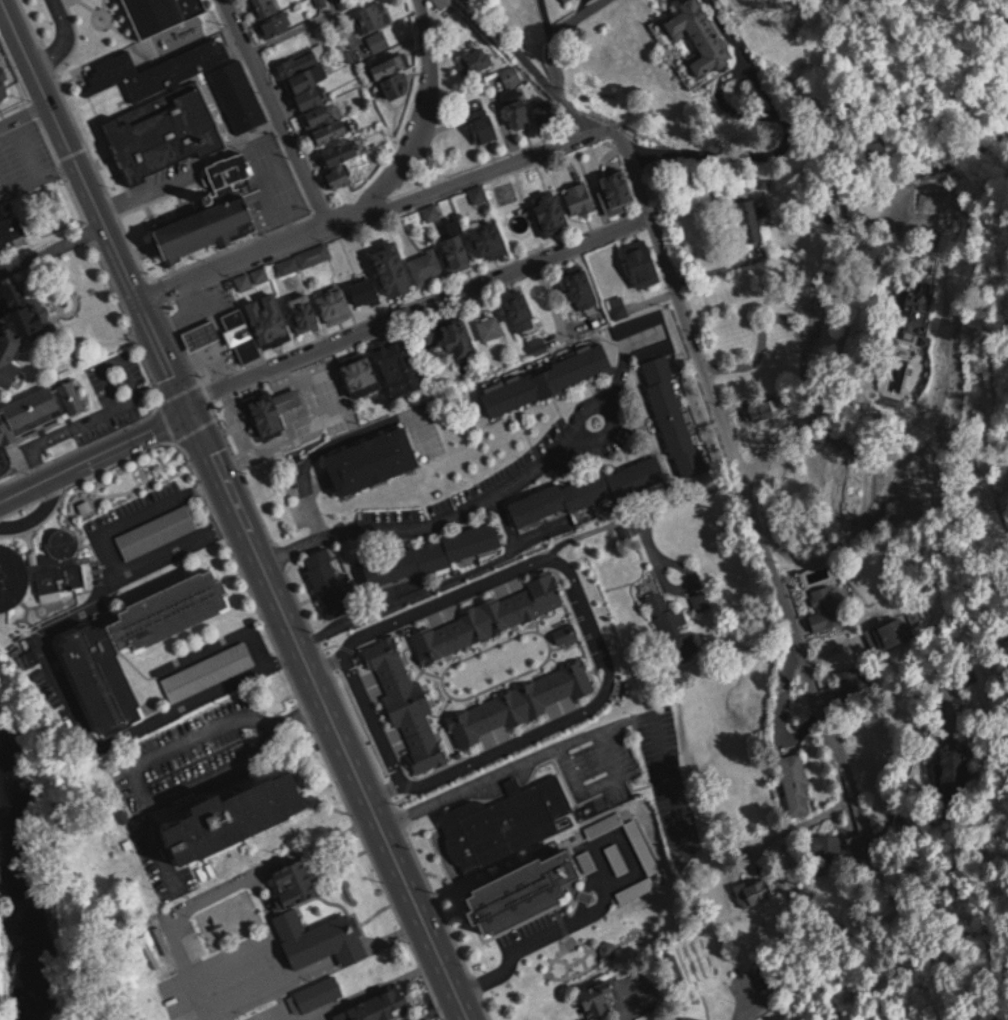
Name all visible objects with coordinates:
building: (564, 0)
building: (443, 3)
building: (266, 7)
building: (162, 13)
building: (373, 14)
road: (8, 23)
building: (275, 25)
road: (558, 31)
building: (702, 34)
road: (61, 38)
building: (378, 39)
road: (28, 50)
building: (476, 57)
building: (299, 60)
building: (389, 63)
building: (511, 72)
building: (4, 83)
building: (310, 83)
building: (396, 83)
building: (176, 104)
building: (518, 105)
road: (280, 108)
road: (25, 111)
building: (483, 121)
building: (326, 122)
road: (424, 127)
building: (875, 148)
building: (342, 150)
building: (231, 168)
building: (338, 174)
building: (617, 190)
building: (580, 197)
road: (374, 202)
building: (853, 208)
building: (552, 209)
building: (751, 218)
building: (11, 222)
building: (205, 225)
building: (489, 237)
building: (457, 246)
road: (53, 247)
road: (120, 252)
building: (314, 254)
building: (642, 261)
building: (426, 264)
building: (393, 267)
building: (261, 274)
building: (582, 287)
building: (366, 291)
building: (335, 304)
building: (619, 305)
building: (520, 308)
road: (423, 309)
building: (305, 311)
building: (269, 316)
building: (639, 322)
building: (19, 326)
building: (491, 327)
building: (202, 334)
gas station: (224, 334)
building: (241, 334)
building: (457, 334)
building: (539, 344)
building: (398, 366)
building: (362, 374)
building: (548, 377)
road: (719, 395)
building: (670, 405)
building: (761, 407)
building: (272, 408)
building: (36, 411)
road: (337, 438)
road: (96, 451)
building: (374, 458)
building: (590, 488)
road: (480, 502)
building: (157, 529)
building: (434, 551)
building: (58, 564)
building: (12, 575)
building: (329, 581)
building: (700, 598)
building: (825, 607)
building: (671, 625)
building: (891, 631)
building: (138, 642)
building: (208, 670)
building: (855, 675)
road: (333, 712)
road: (151, 721)
road: (577, 737)
building: (952, 768)
road: (216, 770)
road: (600, 781)
building: (796, 783)
building: (240, 816)
building: (505, 819)
building: (857, 844)
building: (828, 846)
building: (617, 857)
river: (18, 880)
building: (530, 890)
building: (754, 890)
road: (597, 905)
building: (288, 912)
building: (315, 993)
building: (599, 997)
road: (440, 1001)
building: (379, 1007)
road: (748, 1009)
road: (655, 1019)

